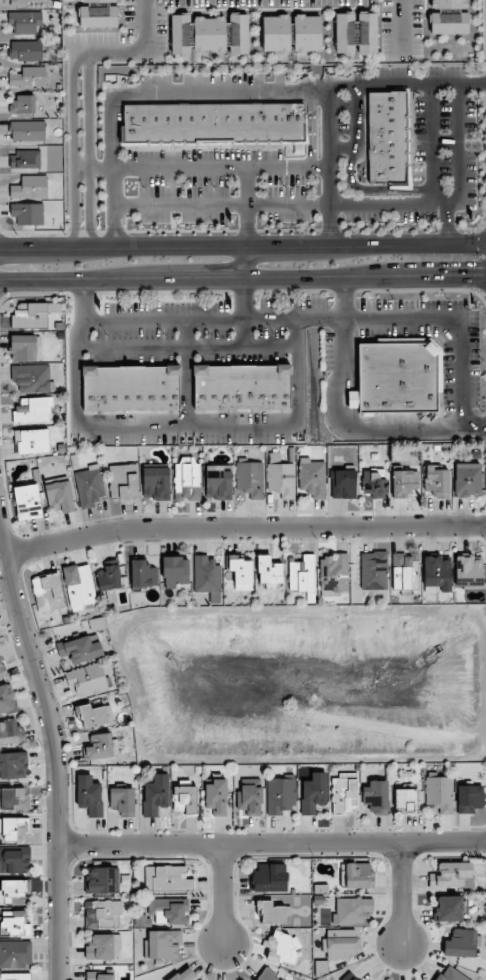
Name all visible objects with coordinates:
building: (20, 1)
building: (98, 1)
building: (448, 4)
building: (98, 17)
building: (26, 22)
building: (448, 23)
road: (146, 25)
road: (401, 27)
building: (276, 33)
building: (307, 33)
building: (355, 33)
building: (182, 34)
building: (211, 34)
building: (238, 34)
building: (26, 50)
road: (110, 50)
building: (28, 77)
road: (407, 83)
road: (220, 93)
building: (23, 105)
road: (356, 115)
building: (213, 123)
building: (27, 131)
building: (387, 138)
road: (431, 143)
road: (459, 143)
road: (343, 147)
road: (74, 148)
road: (89, 149)
building: (28, 160)
road: (330, 163)
road: (202, 169)
road: (113, 170)
building: (30, 187)
road: (372, 189)
road: (286, 205)
road: (245, 207)
building: (28, 213)
road: (447, 224)
road: (243, 246)
road: (245, 262)
road: (242, 279)
road: (344, 298)
road: (246, 299)
building: (33, 315)
road: (196, 319)
road: (460, 322)
building: (24, 347)
building: (397, 376)
building: (31, 378)
building: (242, 387)
building: (131, 388)
building: (352, 399)
building: (33, 410)
building: (32, 441)
building: (312, 477)
building: (281, 479)
building: (187, 480)
building: (123, 481)
building: (156, 482)
building: (437, 482)
building: (218, 483)
building: (343, 483)
building: (375, 483)
building: (404, 483)
building: (89, 486)
building: (59, 494)
building: (27, 502)
road: (244, 531)
building: (268, 570)
building: (373, 570)
building: (175, 571)
building: (468, 571)
building: (241, 572)
building: (404, 572)
building: (143, 574)
building: (206, 574)
building: (333, 574)
building: (436, 574)
building: (302, 576)
building: (108, 578)
building: (79, 586)
building: (48, 593)
building: (79, 650)
building: (2, 672)
building: (87, 679)
building: (6, 697)
building: (96, 715)
building: (11, 733)
building: (101, 746)
road: (56, 747)
building: (13, 765)
building: (313, 793)
building: (439, 793)
building: (89, 795)
building: (155, 795)
building: (281, 795)
building: (343, 795)
building: (216, 796)
building: (185, 797)
building: (375, 797)
building: (469, 798)
building: (13, 799)
building: (406, 799)
building: (250, 800)
building: (122, 801)
building: (14, 829)
road: (272, 844)
building: (14, 860)
building: (358, 875)
building: (449, 875)
building: (269, 878)
building: (167, 879)
building: (102, 880)
road: (400, 892)
road: (222, 894)
building: (449, 909)
building: (168, 910)
building: (352, 910)
building: (102, 913)
building: (272, 913)
building: (14, 924)
building: (340, 943)
building: (460, 943)
building: (163, 944)
building: (103, 947)
building: (282, 947)
building: (15, 954)
building: (451, 974)
building: (184, 975)
building: (267, 975)
building: (99, 976)
building: (14, 977)
building: (354, 978)

